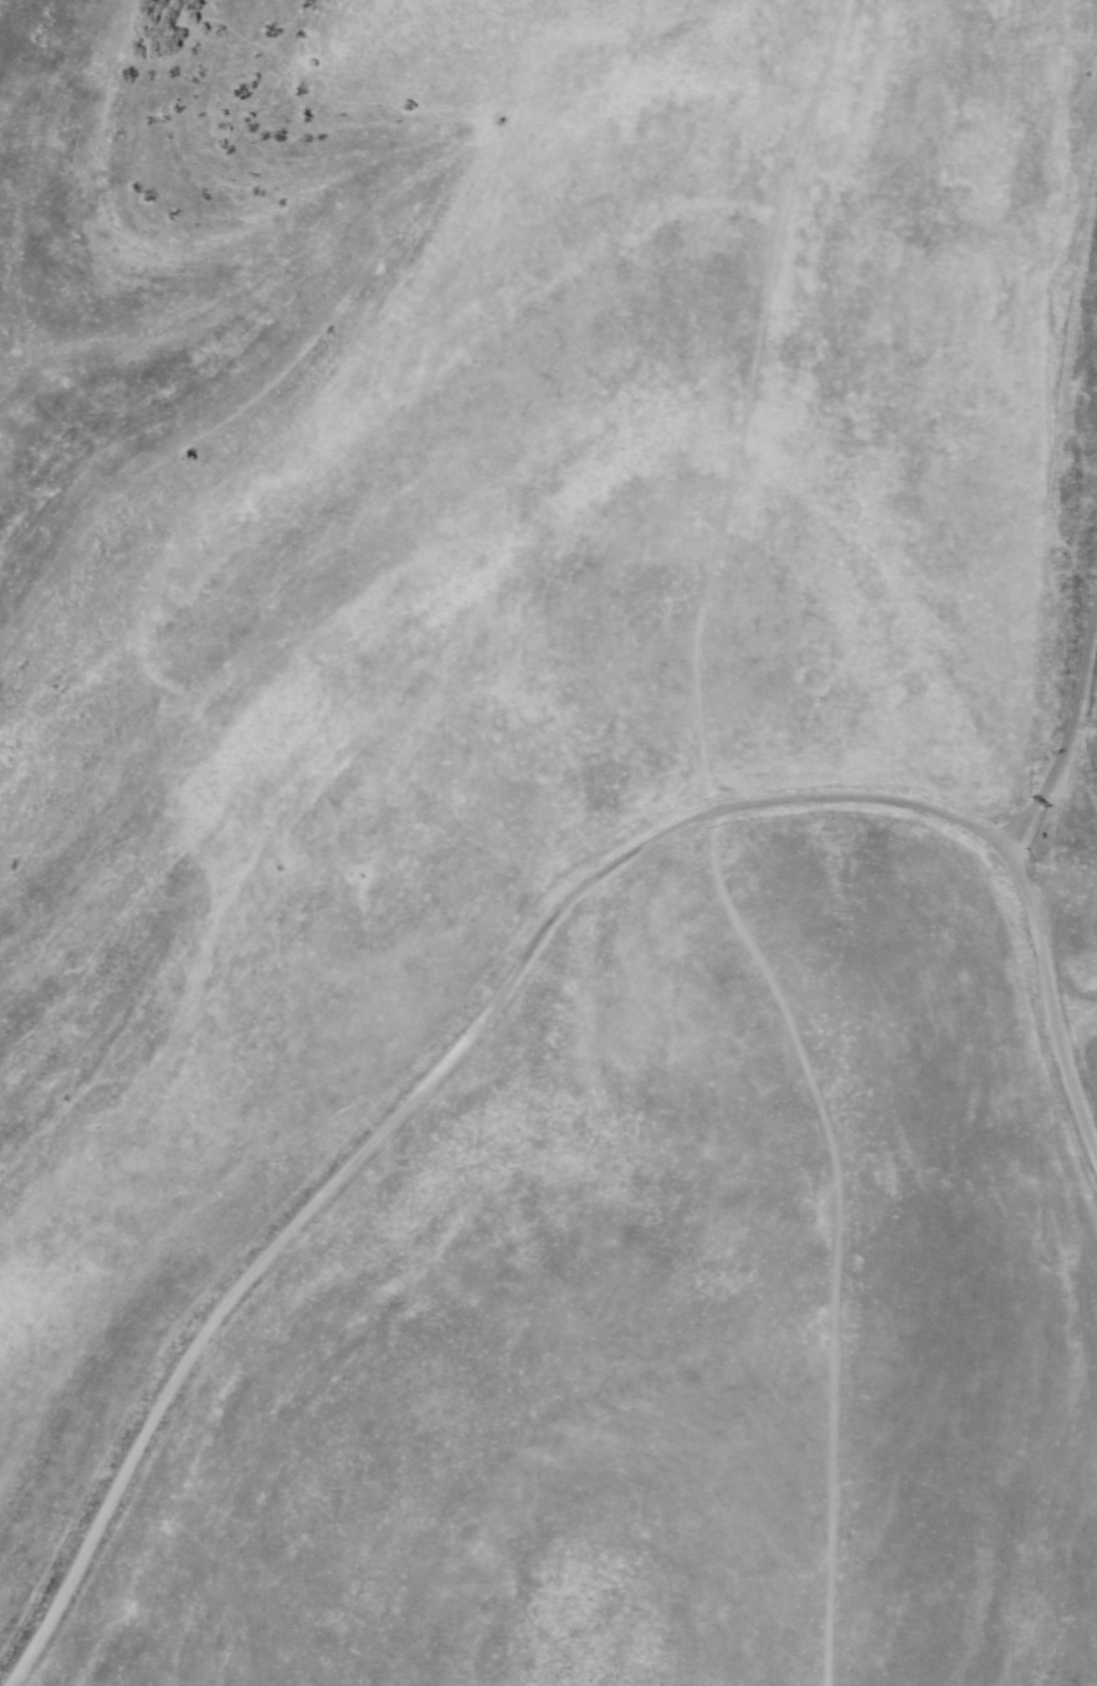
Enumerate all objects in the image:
road: (1076, 896)
road: (515, 982)

